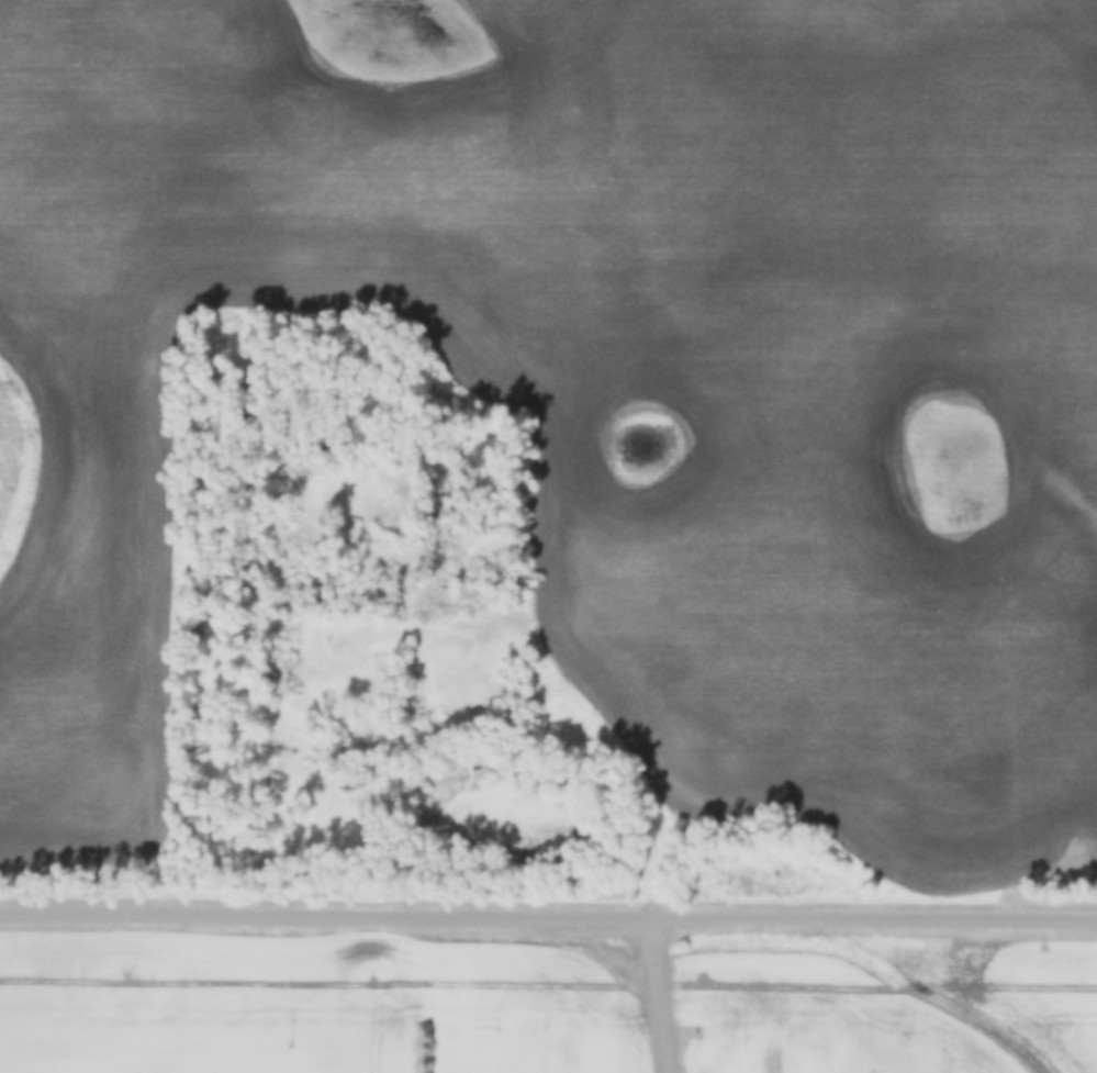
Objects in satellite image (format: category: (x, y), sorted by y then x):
road: (563, 674)
road: (548, 920)

